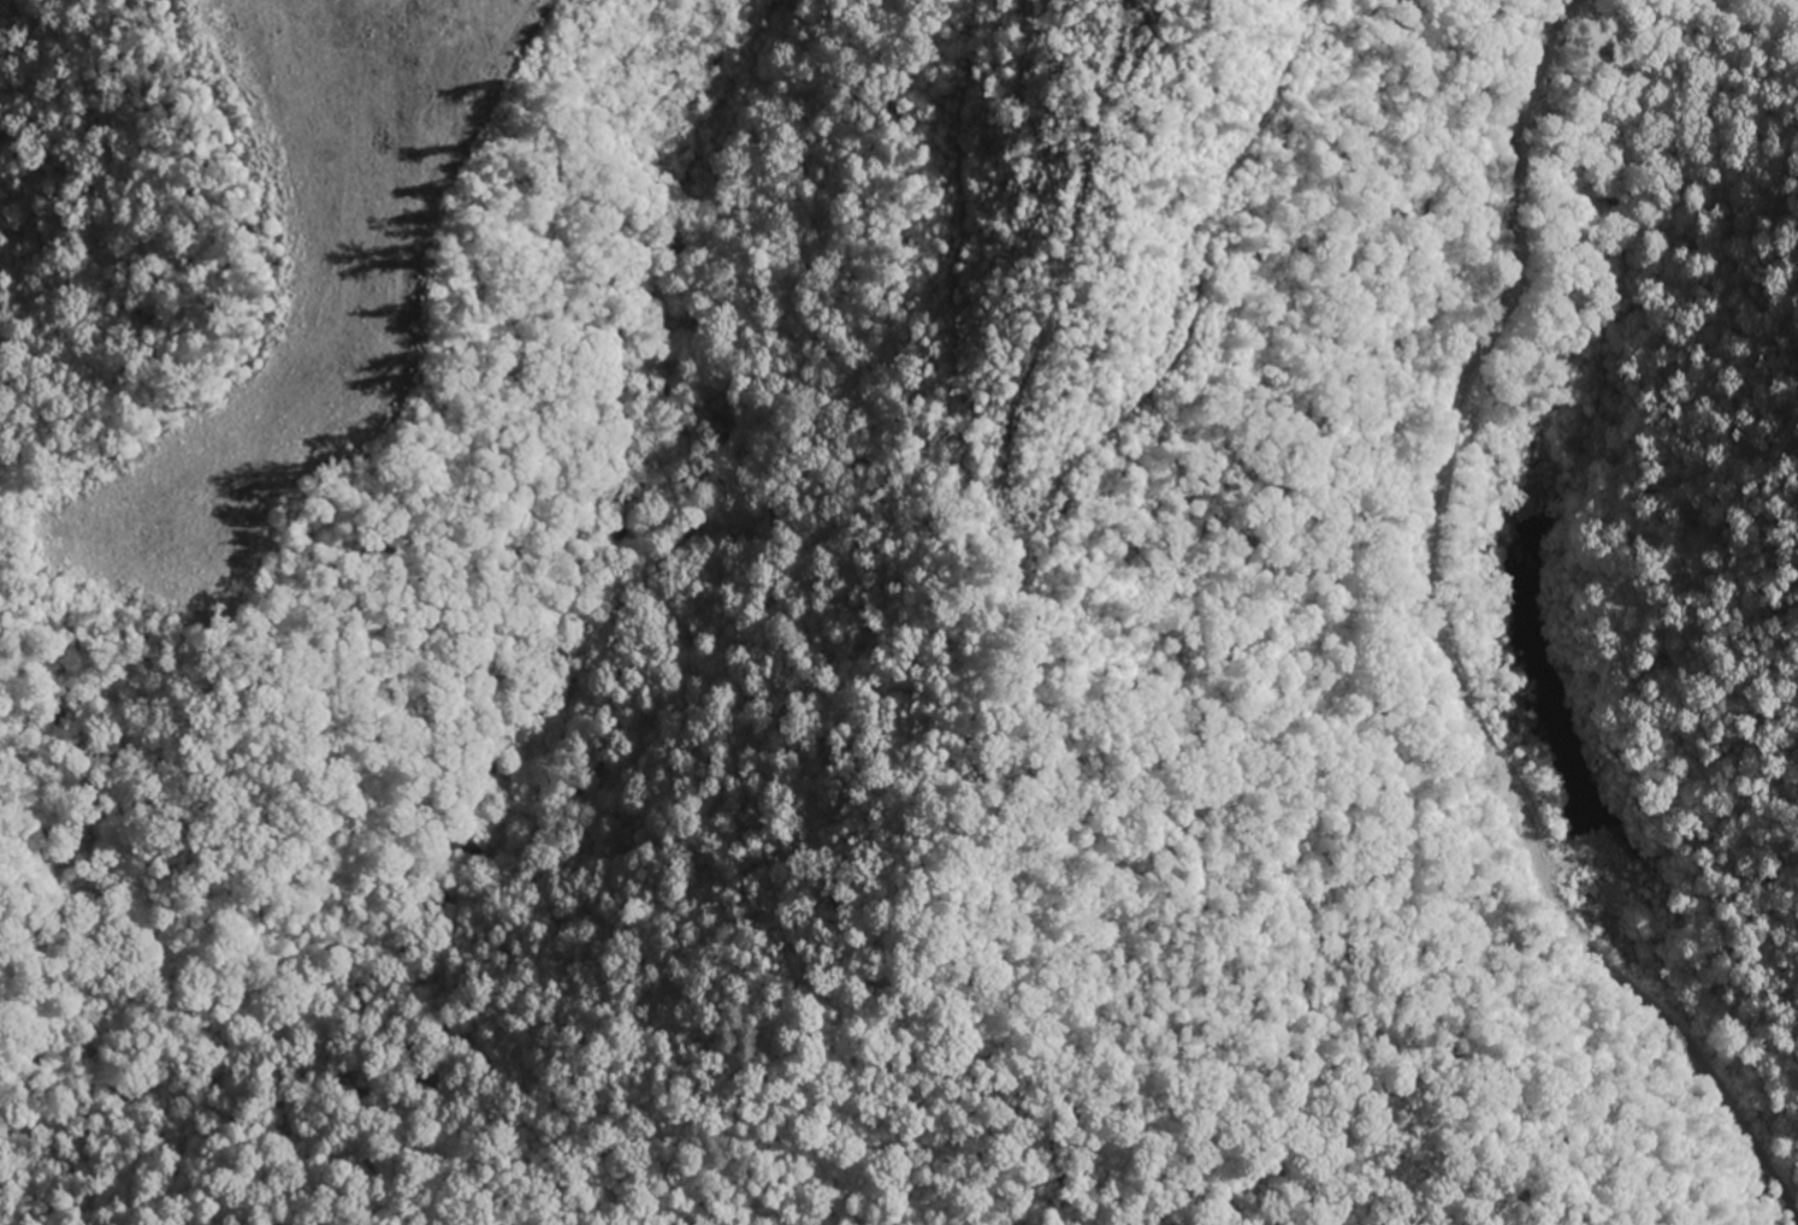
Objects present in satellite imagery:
road: (1407, 644)

